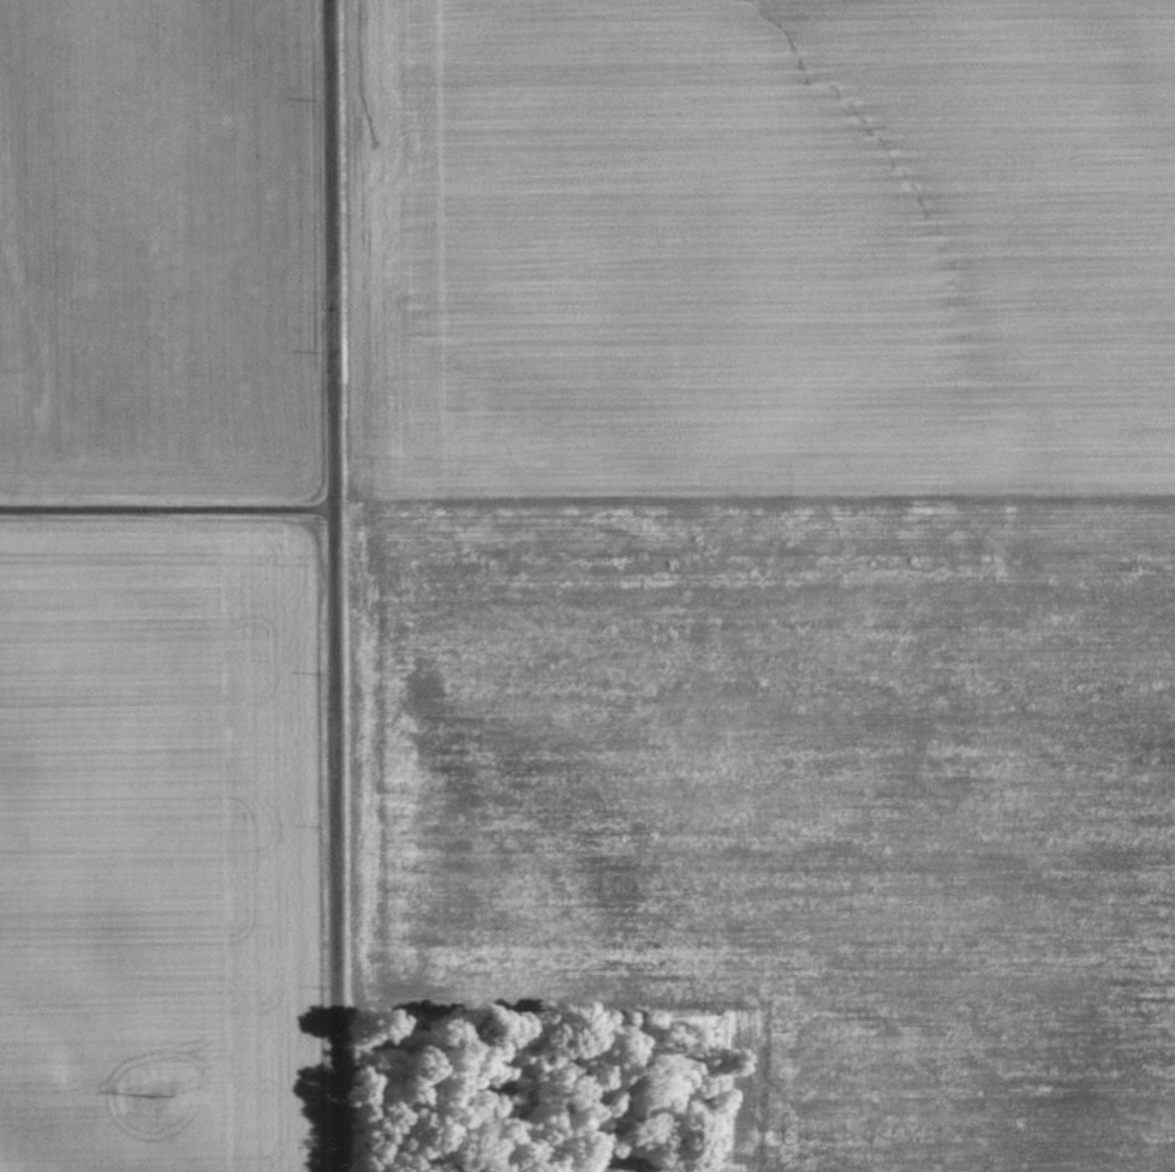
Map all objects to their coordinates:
road: (166, 508)
road: (332, 585)

